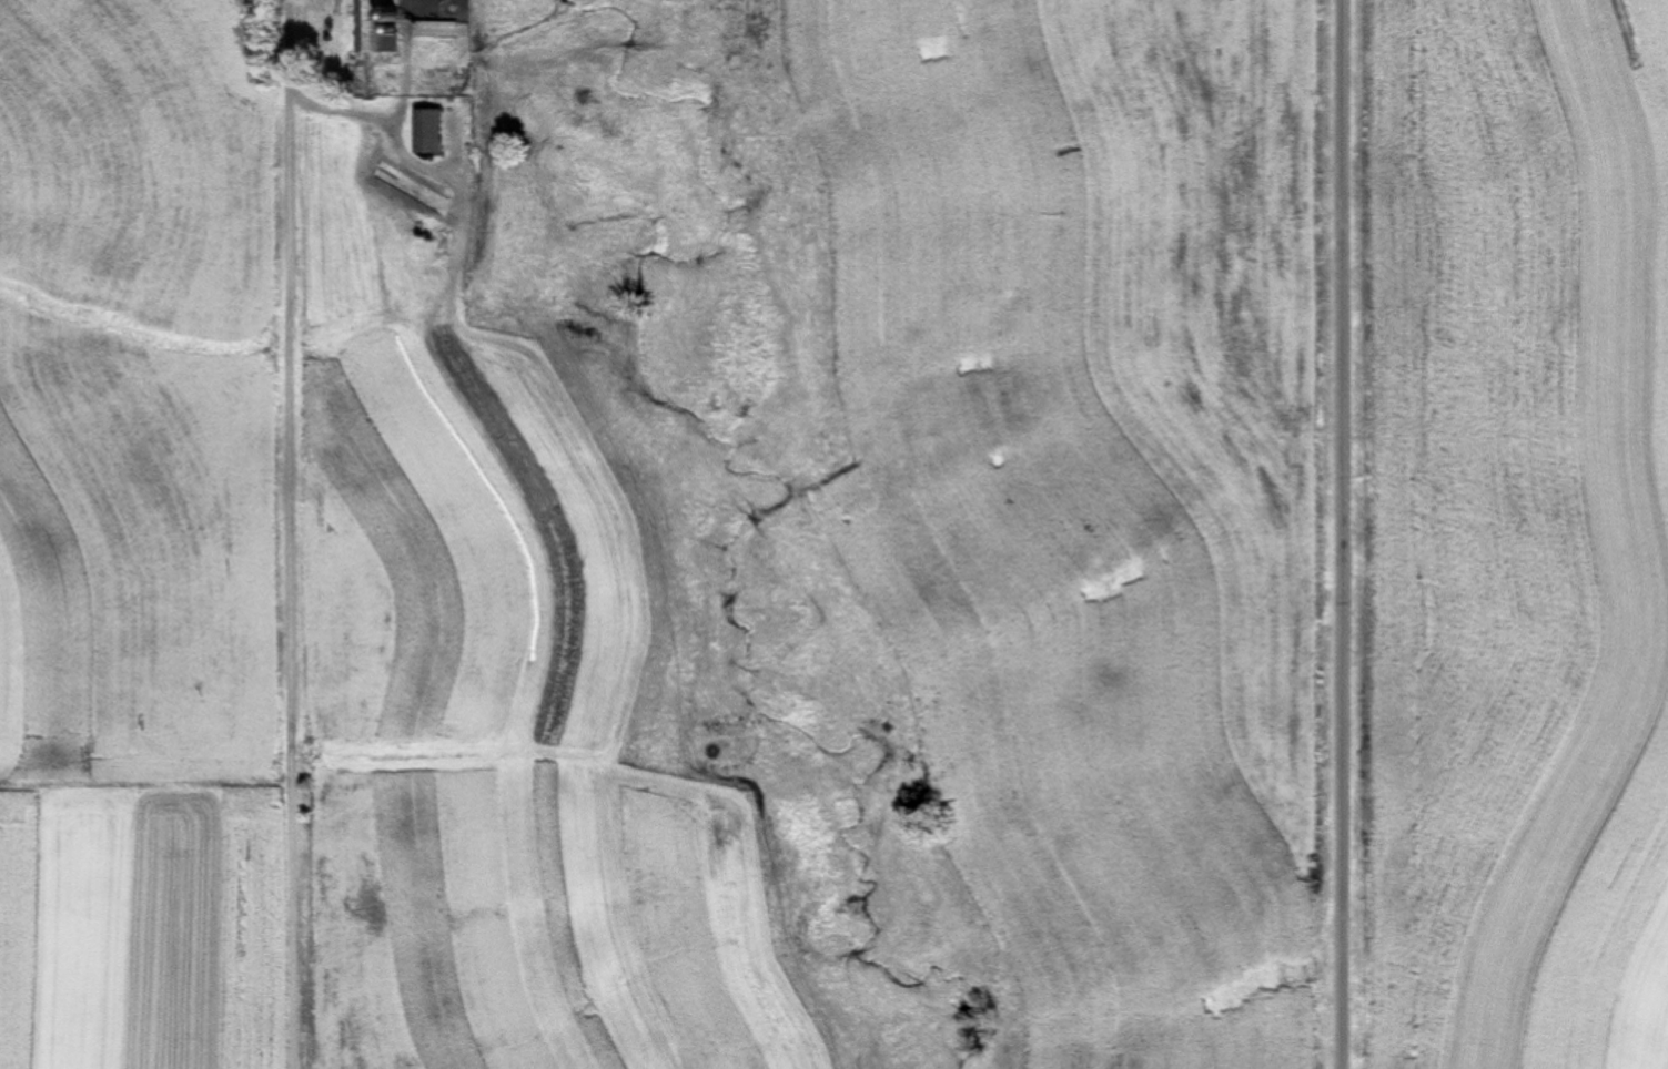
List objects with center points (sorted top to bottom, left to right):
building: (378, 27)
building: (433, 132)
road: (295, 534)
road: (1325, 534)

